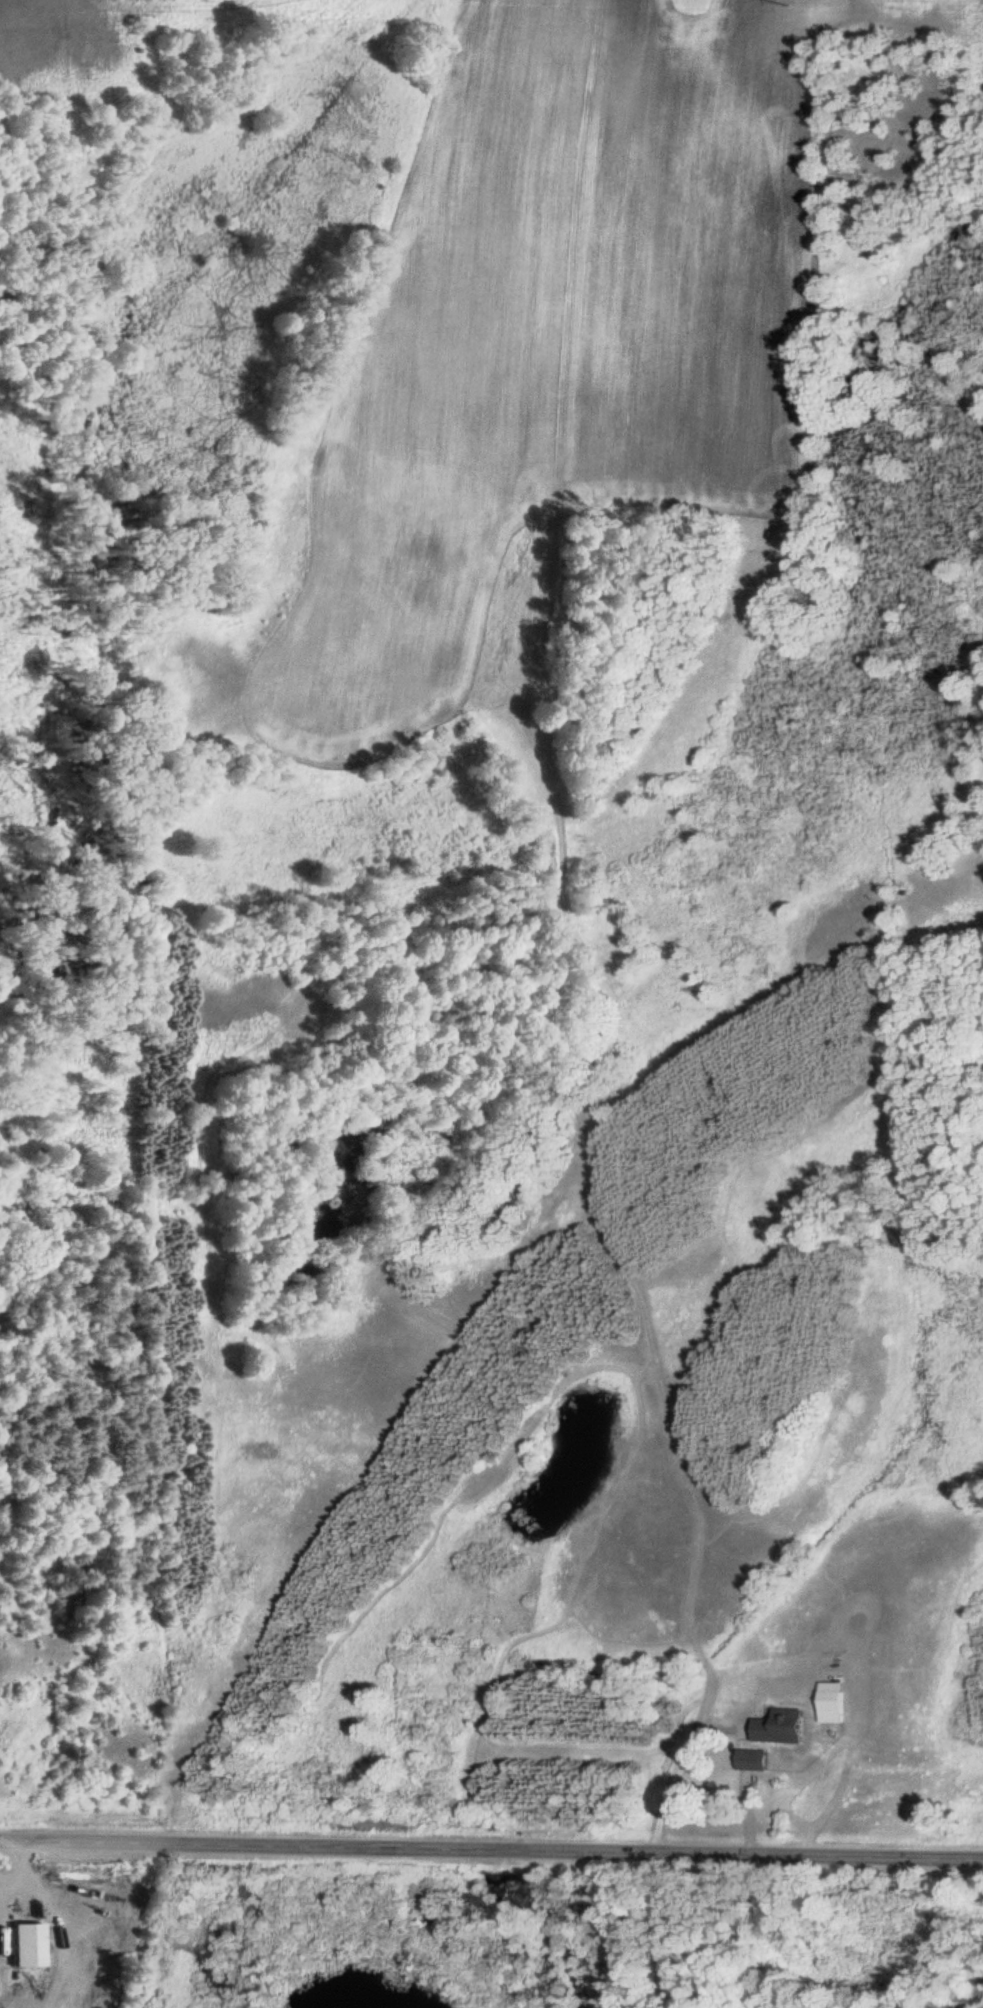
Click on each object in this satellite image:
building: (832, 1701)
building: (780, 1725)
building: (753, 1758)
building: (724, 1786)
road: (491, 1848)
building: (21, 1943)

